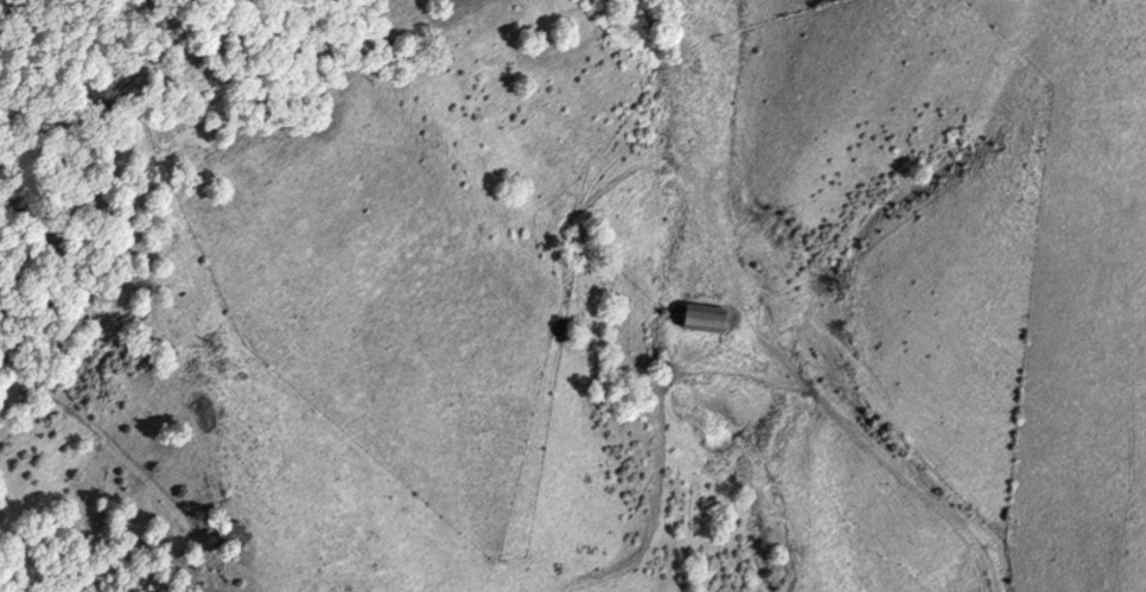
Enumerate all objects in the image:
building: (708, 318)
road: (858, 424)

